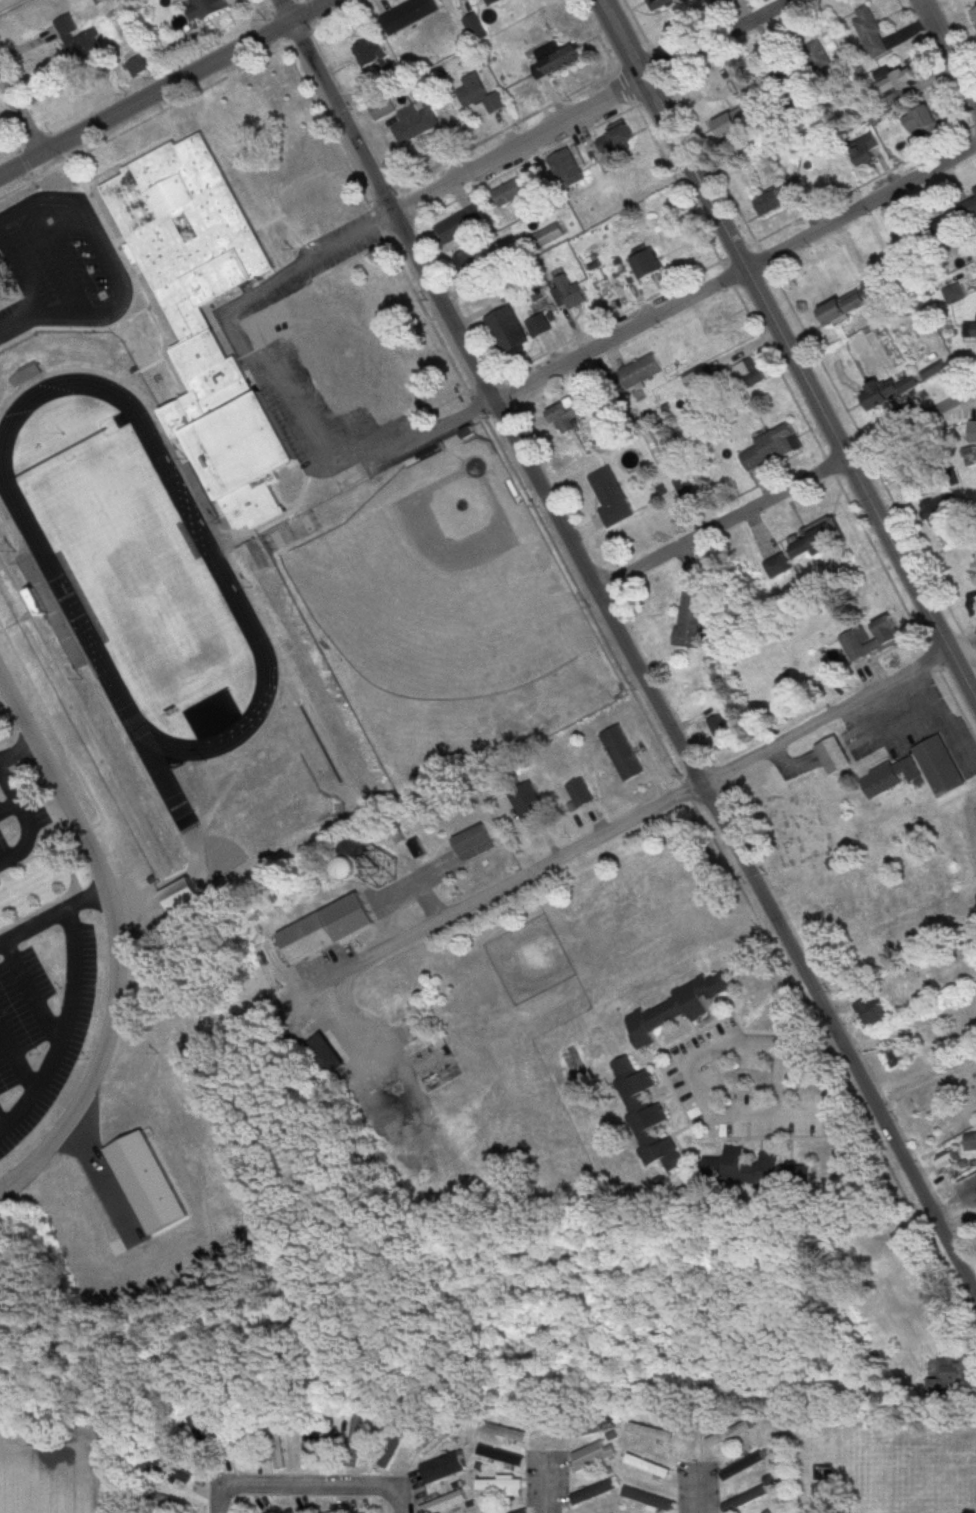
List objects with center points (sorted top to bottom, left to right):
building: (474, 0)
building: (730, 1)
building: (499, 2)
road: (8, 4)
building: (669, 4)
building: (208, 9)
building: (974, 11)
building: (411, 15)
building: (475, 28)
building: (872, 32)
road: (707, 37)
building: (78, 41)
road: (949, 50)
building: (375, 52)
building: (563, 57)
building: (902, 79)
road: (166, 89)
building: (479, 94)
building: (386, 108)
road: (19, 120)
building: (926, 121)
building: (416, 124)
building: (730, 127)
building: (619, 141)
road: (517, 146)
building: (866, 149)
building: (563, 163)
building: (293, 190)
building: (514, 191)
building: (783, 196)
building: (972, 201)
road: (860, 202)
building: (305, 208)
building: (454, 229)
building: (548, 235)
road: (62, 254)
building: (467, 257)
building: (652, 264)
road: (311, 265)
building: (573, 292)
road: (116, 299)
building: (849, 307)
building: (213, 318)
road: (8, 325)
building: (540, 327)
building: (509, 330)
building: (972, 330)
road: (788, 350)
building: (342, 351)
building: (935, 370)
road: (547, 371)
building: (641, 372)
building: (750, 376)
building: (698, 379)
building: (883, 397)
building: (590, 398)
building: (568, 416)
building: (974, 432)
building: (773, 449)
building: (916, 481)
road: (785, 488)
building: (613, 498)
building: (932, 516)
building: (821, 539)
track: (49, 567)
park: (133, 567)
building: (780, 567)
park: (436, 580)
building: (700, 621)
building: (894, 632)
building: (860, 646)
road: (624, 648)
road: (16, 745)
building: (625, 754)
building: (840, 757)
building: (945, 768)
building: (894, 777)
building: (578, 794)
building: (527, 803)
road: (632, 819)
road: (26, 820)
building: (475, 844)
building: (184, 893)
road: (52, 910)
building: (331, 928)
road: (118, 938)
building: (675, 1009)
building: (873, 1012)
building: (324, 1047)
building: (899, 1055)
road: (923, 1080)
road: (697, 1083)
building: (647, 1116)
building: (972, 1138)
building: (733, 1164)
building: (776, 1164)
building: (971, 1188)
building: (959, 1366)
building: (506, 1432)
building: (650, 1432)
building: (729, 1434)
building: (438, 1440)
building: (310, 1444)
building: (392, 1450)
building: (592, 1455)
building: (647, 1466)
building: (742, 1466)
building: (443, 1468)
building: (174, 1470)
road: (547, 1483)
road: (312, 1485)
crop: (58, 1486)
building: (503, 1486)
road: (695, 1488)
building: (593, 1492)
road: (220, 1498)
road: (404, 1499)
building: (647, 1499)
building: (744, 1499)
building: (446, 1502)
building: (356, 1504)
building: (291, 1511)
building: (333, 1512)
building: (526, 1512)

